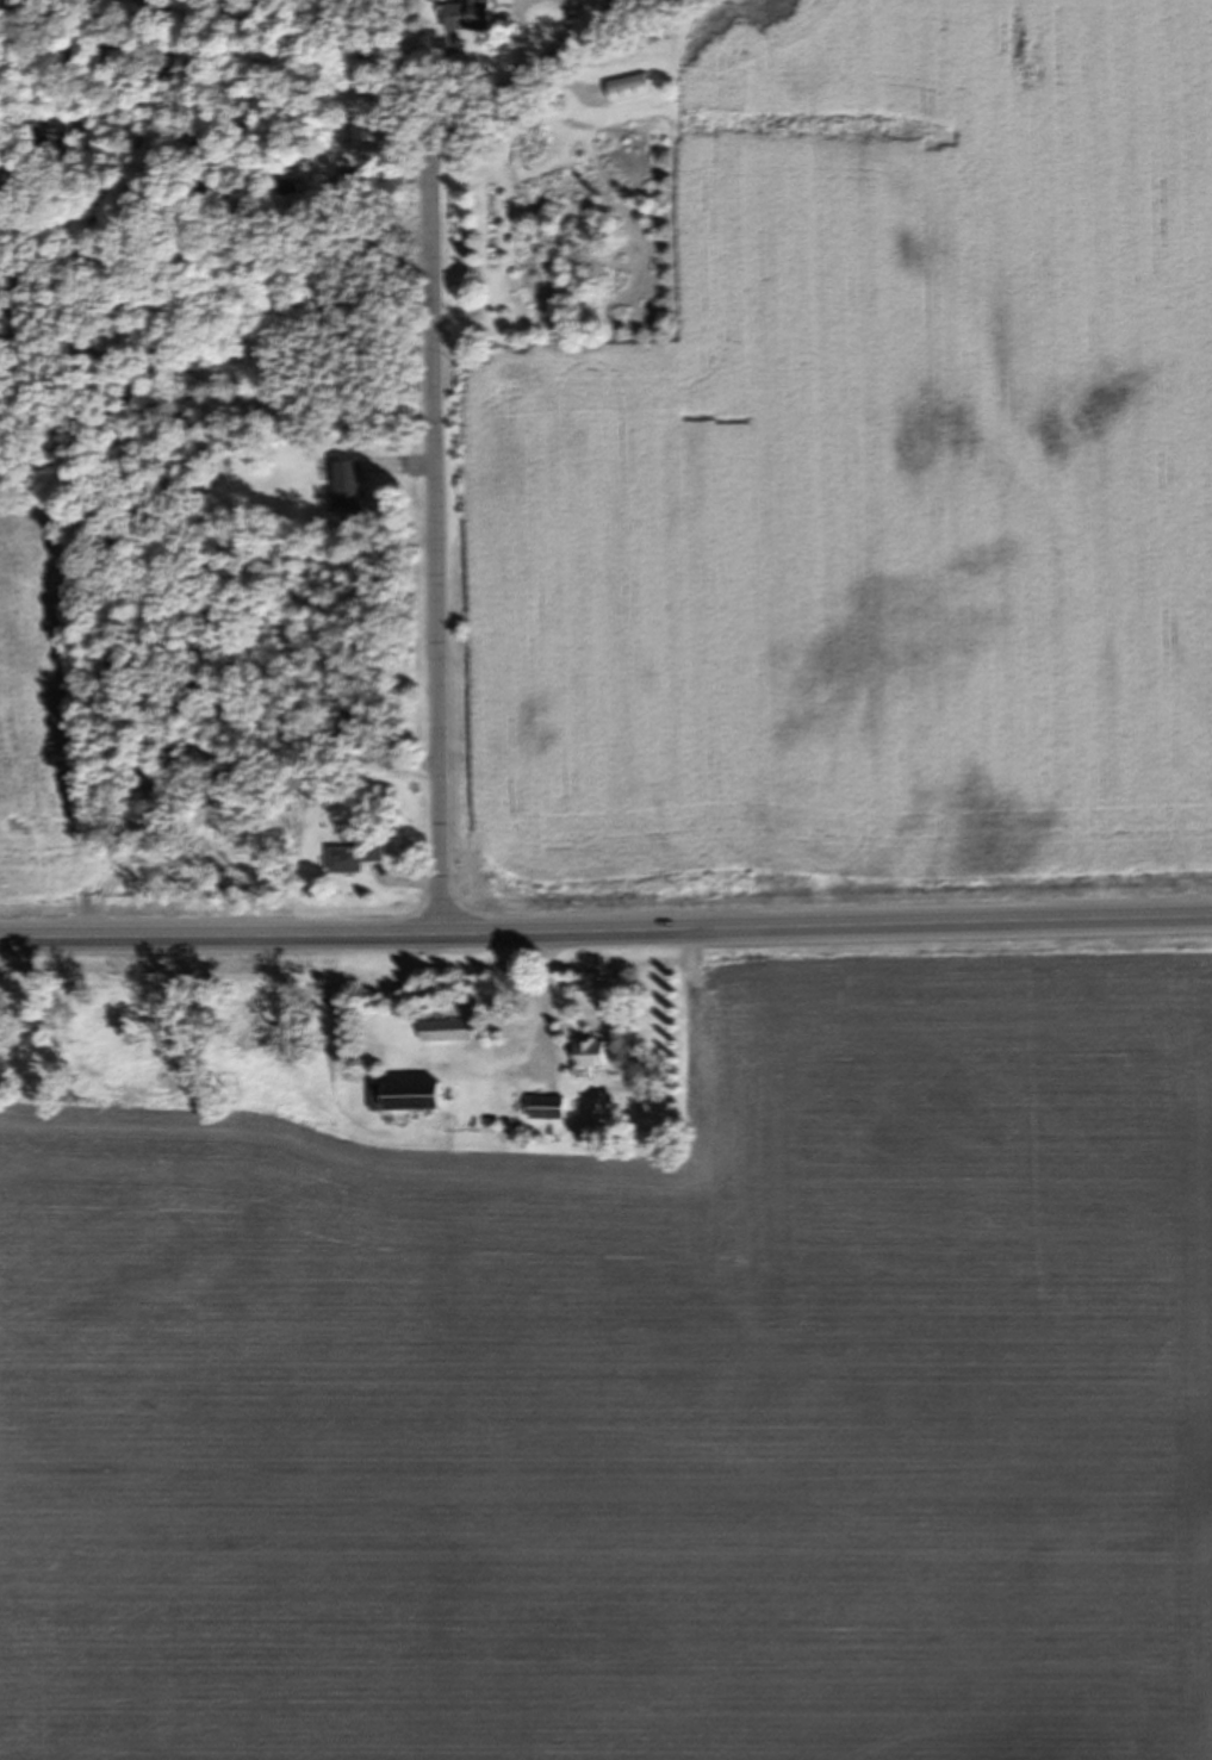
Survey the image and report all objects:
building: (467, 18)
road: (440, 434)
building: (349, 489)
building: (350, 859)
road: (605, 919)
building: (445, 1032)
building: (589, 1059)
building: (412, 1099)
building: (545, 1109)

